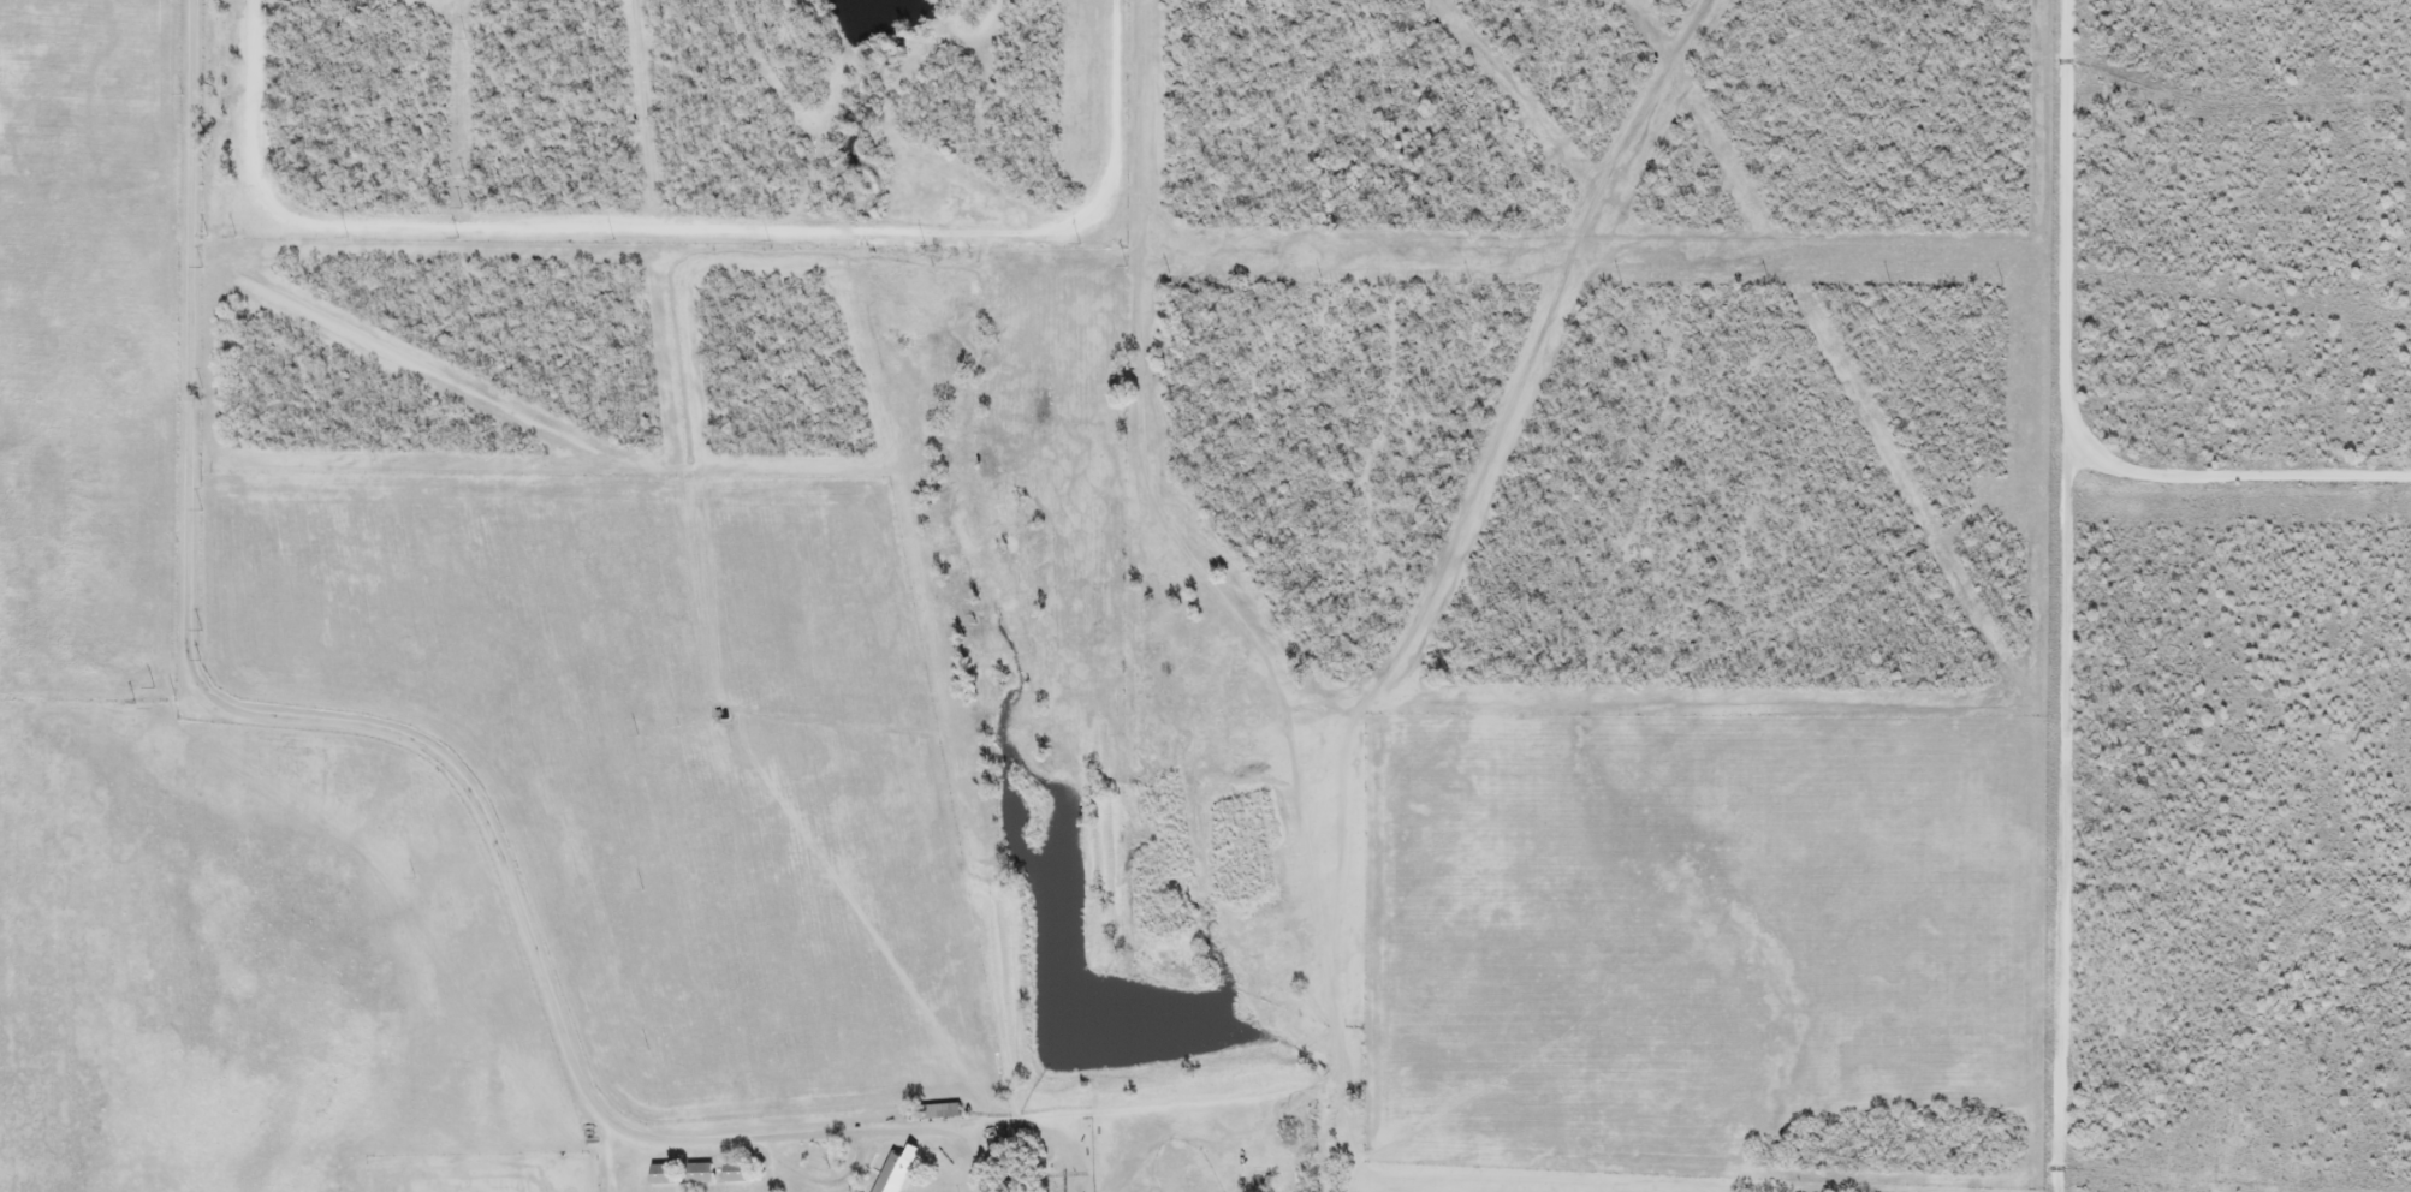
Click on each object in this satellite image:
road: (683, 225)
road: (2234, 476)
road: (2056, 596)
road: (254, 714)
road: (878, 1126)
road: (606, 1157)
building: (896, 1173)
building: (735, 1174)
building: (699, 1175)
building: (663, 1176)
road: (810, 1179)

